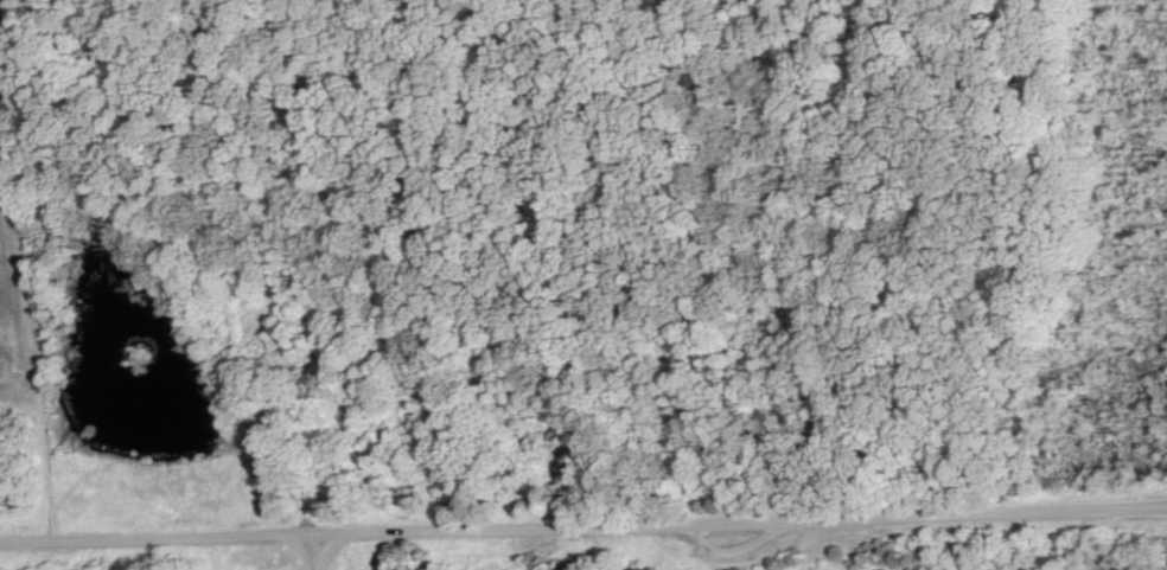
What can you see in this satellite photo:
park: (583, 284)
road: (583, 525)
road: (310, 552)

